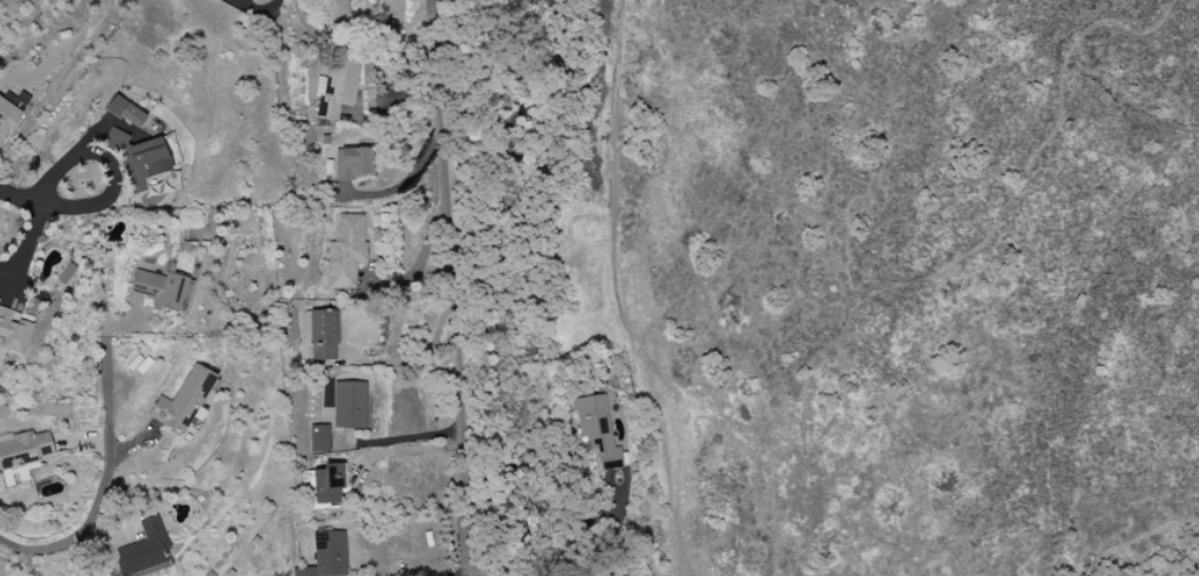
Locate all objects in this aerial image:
road: (257, 8)
building: (334, 16)
building: (335, 89)
building: (11, 112)
building: (125, 112)
building: (137, 161)
building: (352, 165)
road: (52, 205)
building: (346, 251)
building: (159, 290)
road: (447, 290)
building: (13, 332)
building: (323, 335)
road: (420, 363)
building: (182, 401)
building: (348, 405)
building: (597, 430)
building: (319, 438)
road: (396, 438)
road: (396, 452)
building: (22, 455)
road: (107, 466)
building: (328, 484)
road: (546, 511)
building: (326, 555)
building: (618, 575)

